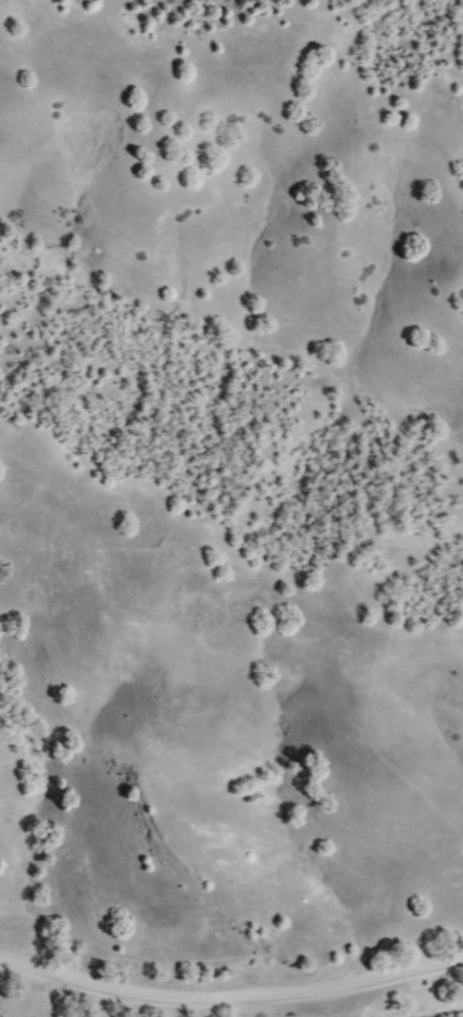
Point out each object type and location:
road: (229, 997)

